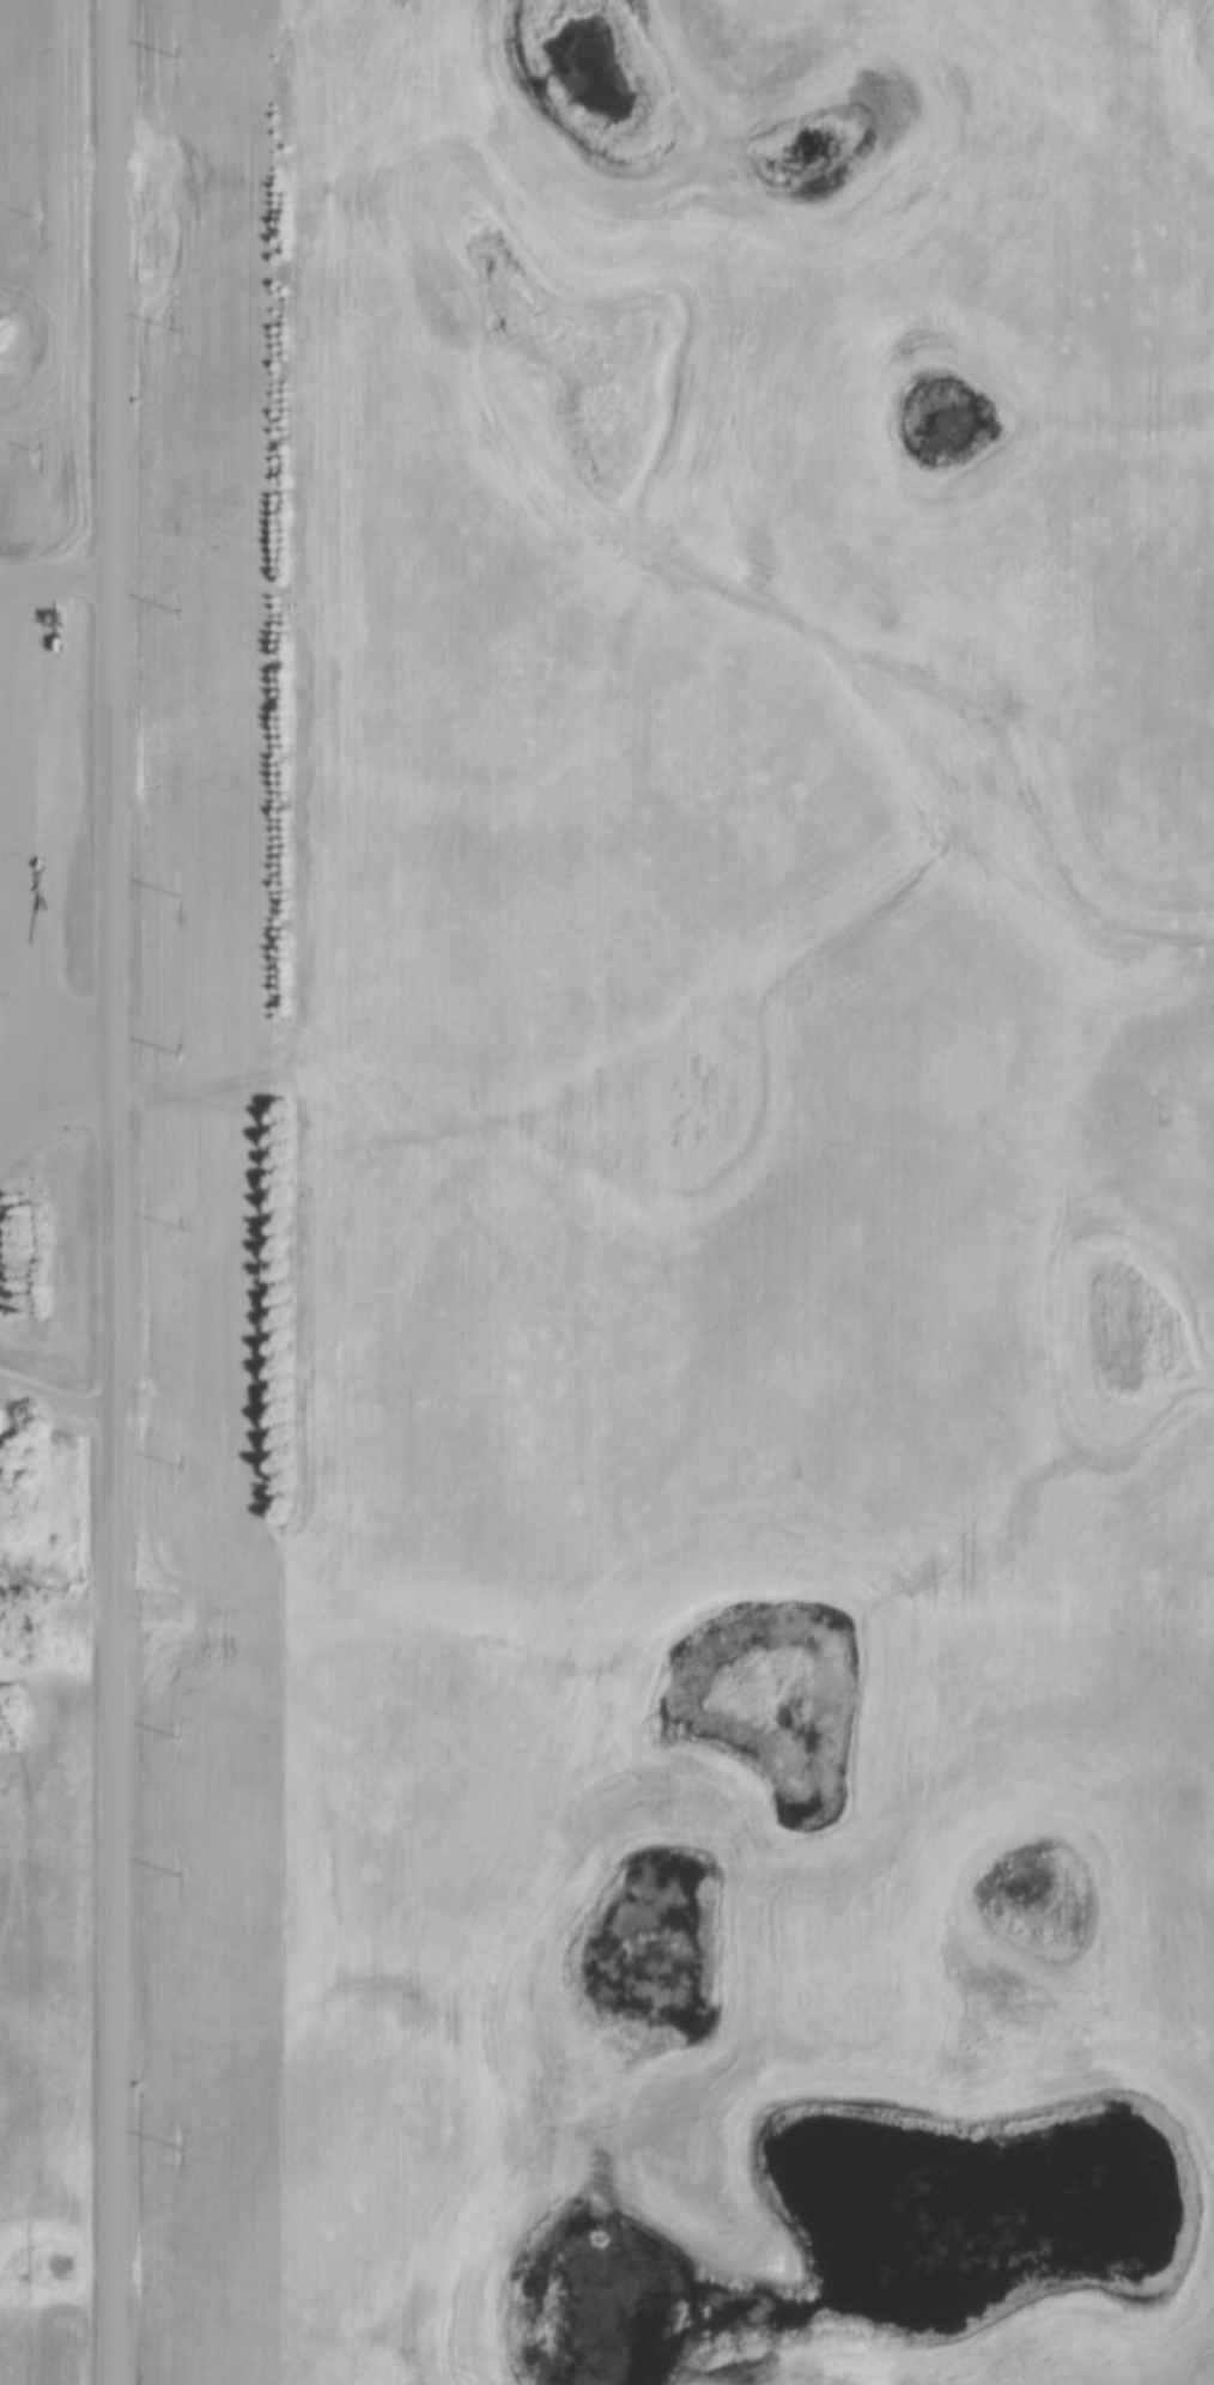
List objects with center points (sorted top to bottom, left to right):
road: (35, 596)
road: (29, 948)
road: (115, 1192)
building: (4, 1256)
road: (56, 1396)

